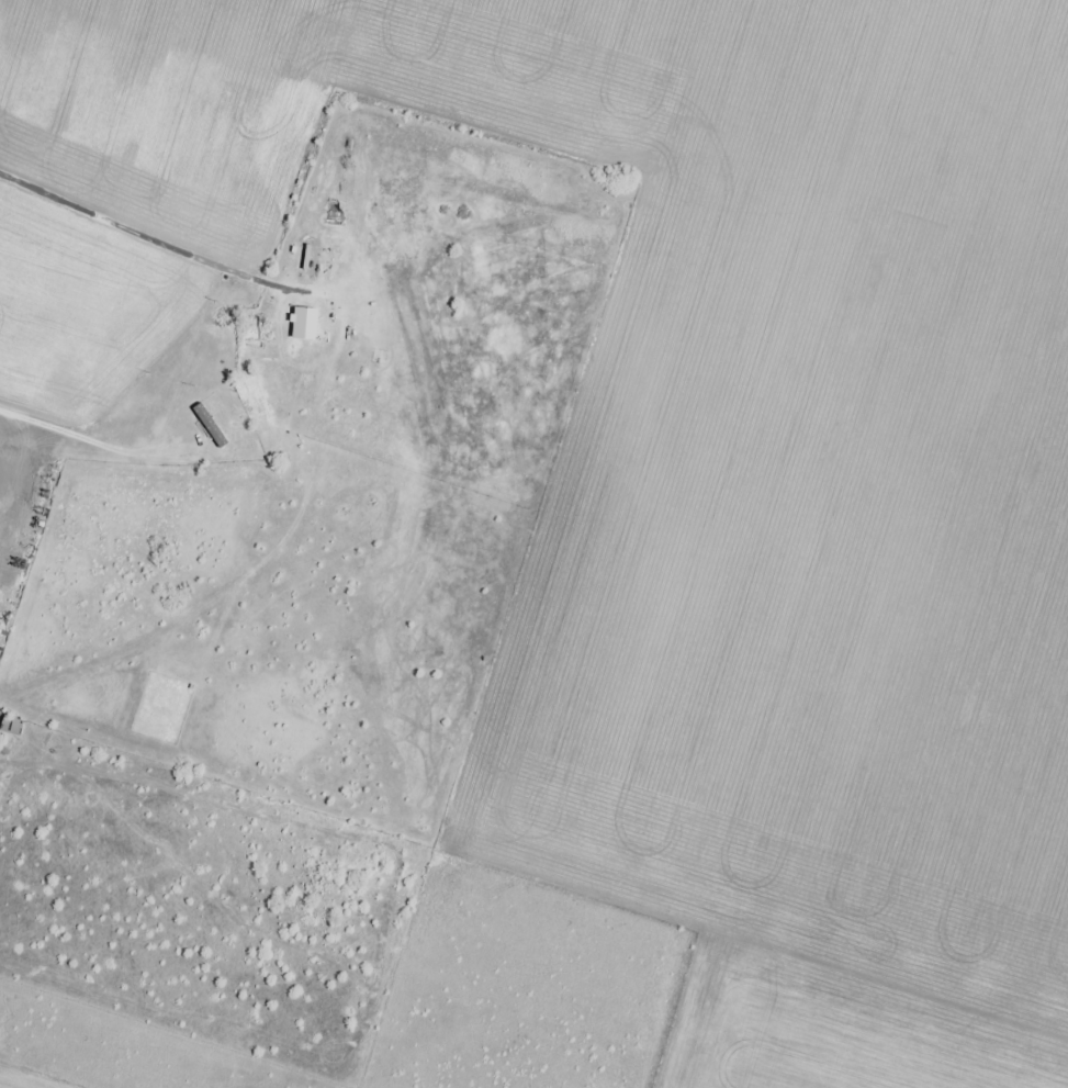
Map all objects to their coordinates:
road: (341, 416)
road: (117, 513)
building: (11, 726)

